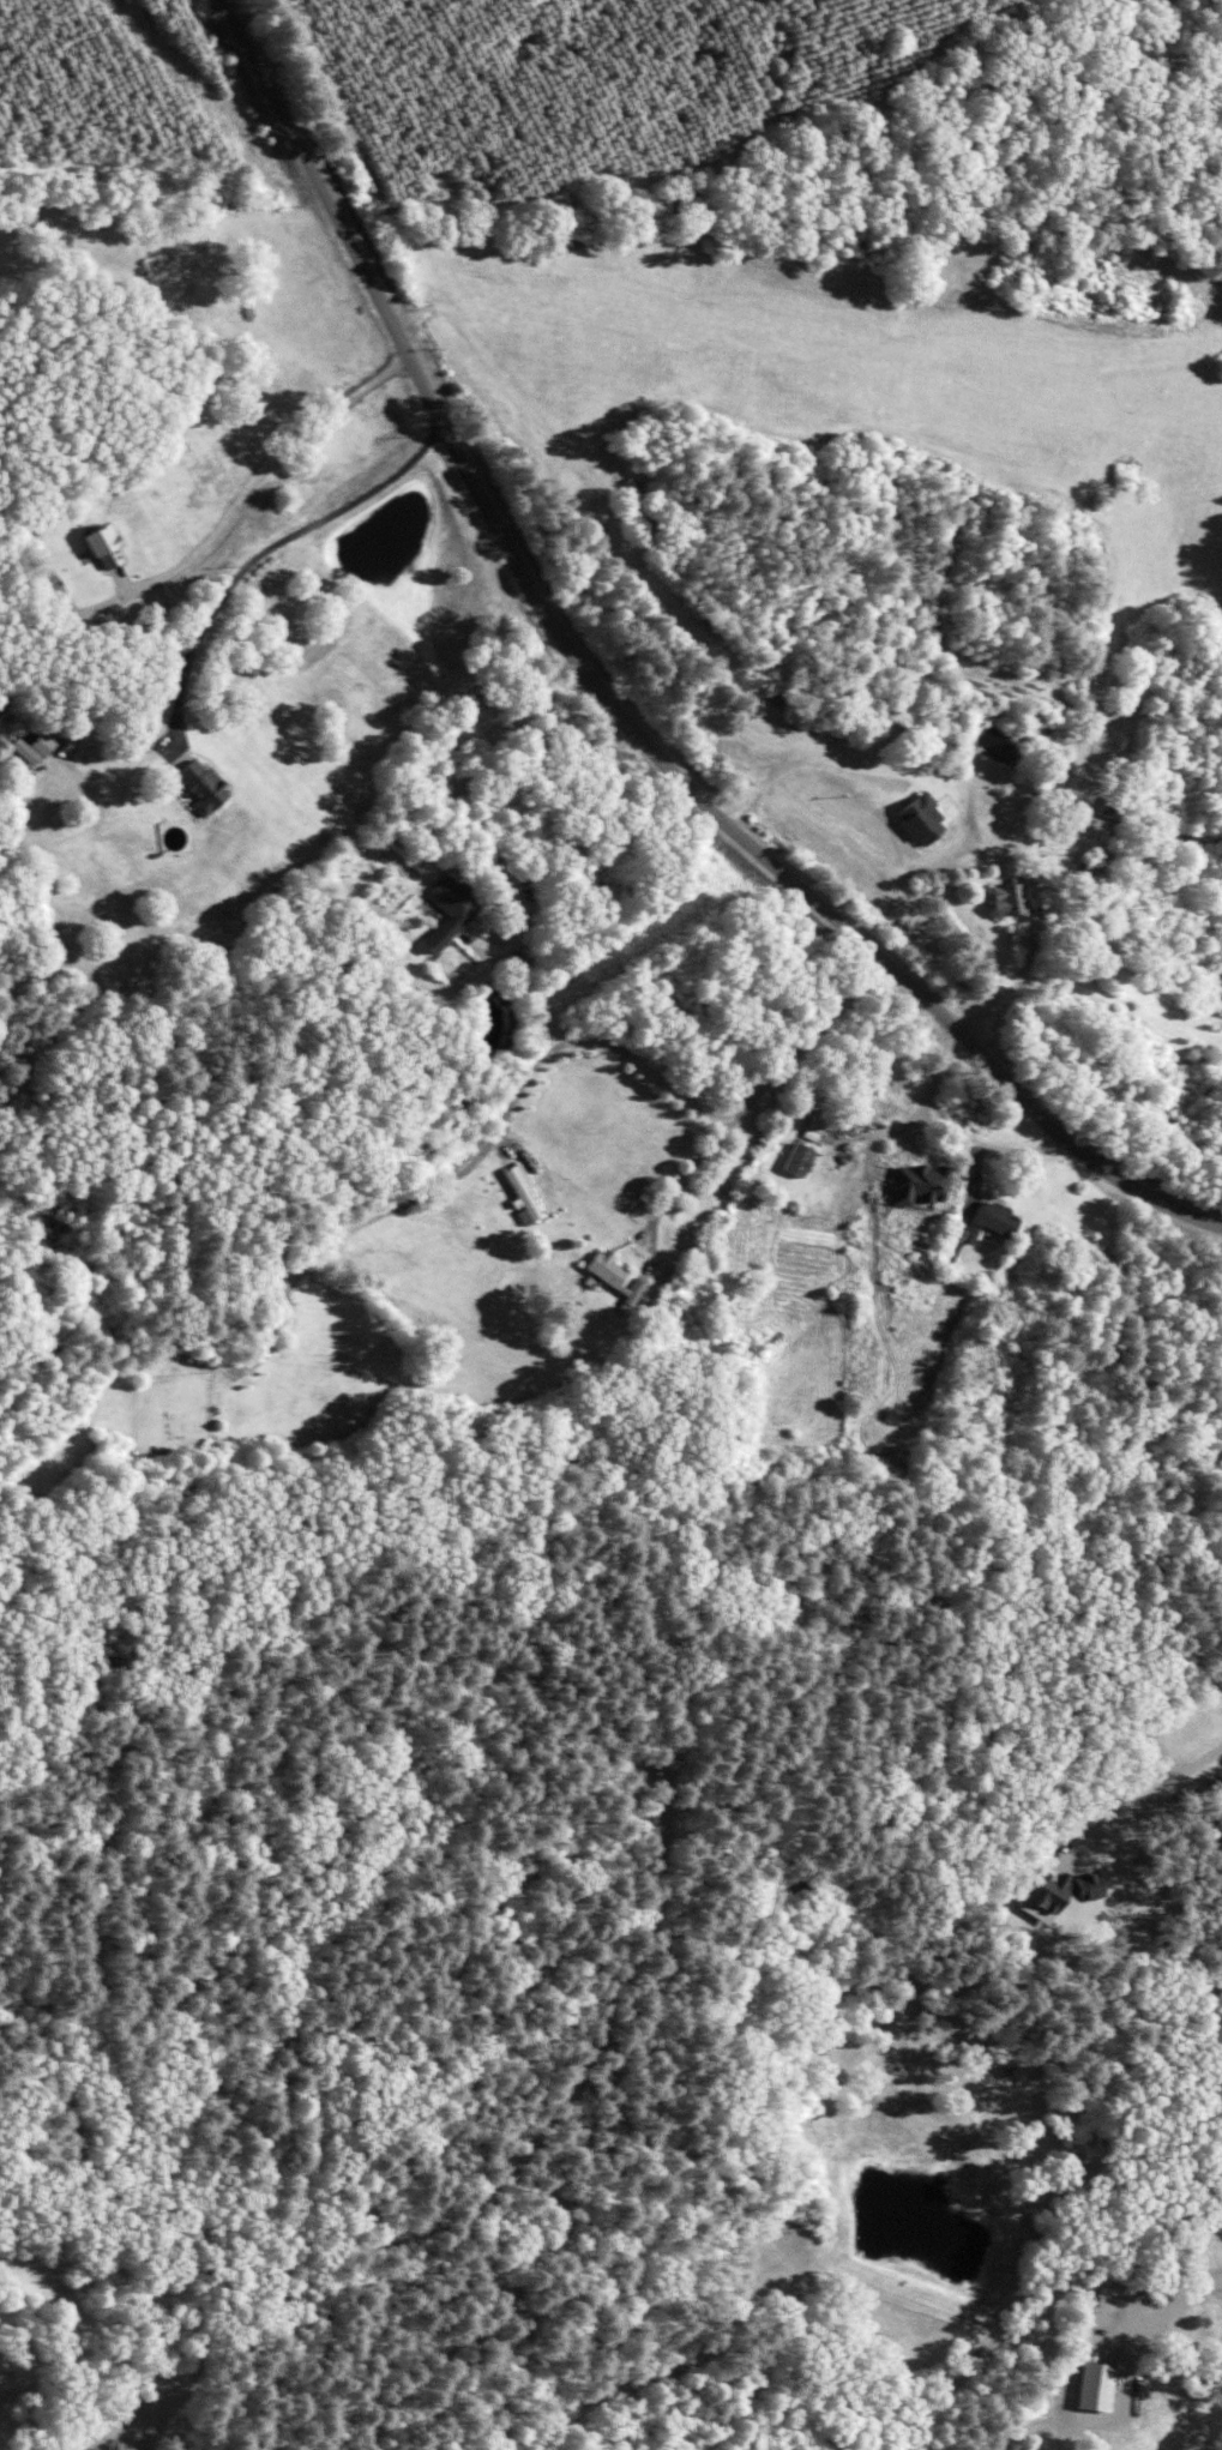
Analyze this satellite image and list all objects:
road: (204, 427)
building: (98, 547)
road: (269, 550)
building: (44, 588)
road: (610, 704)
building: (199, 784)
building: (1106, 808)
road: (462, 817)
building: (1001, 901)
building: (447, 911)
road: (600, 1040)
road: (758, 1092)
building: (793, 1160)
building: (908, 1184)
building: (519, 1196)
building: (987, 1217)
building: (604, 1269)
road: (1160, 1793)
road: (1167, 2316)
building: (1085, 2388)

